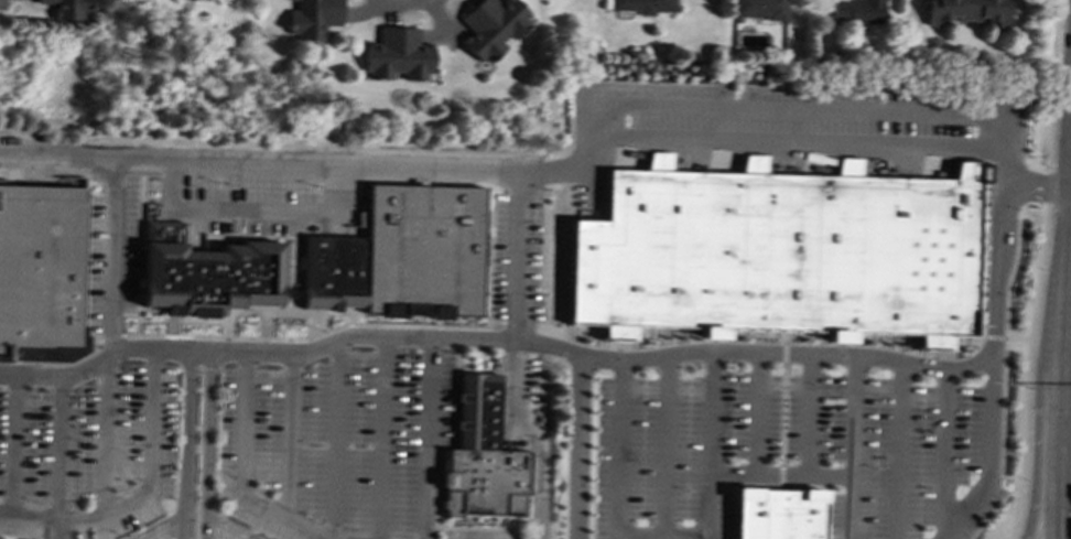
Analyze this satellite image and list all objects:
road: (399, 2)
building: (643, 6)
building: (68, 9)
building: (759, 9)
building: (857, 11)
building: (967, 11)
building: (312, 19)
building: (491, 26)
building: (397, 54)
parking lot: (824, 110)
road: (797, 141)
road: (573, 175)
road: (1035, 186)
parking lot: (242, 188)
road: (251, 209)
building: (778, 254)
parking lot: (113, 255)
road: (112, 256)
building: (401, 256)
parking lot: (516, 258)
road: (516, 258)
road: (1037, 269)
building: (207, 272)
road: (1067, 272)
building: (41, 274)
road: (495, 342)
road: (989, 369)
parking lot: (515, 377)
road: (1036, 400)
road: (756, 413)
road: (808, 414)
road: (187, 430)
road: (290, 436)
road: (105, 438)
road: (382, 439)
road: (430, 439)
road: (532, 439)
road: (335, 440)
road: (207, 444)
road: (666, 444)
road: (13, 445)
parking lot: (336, 445)
road: (710, 445)
road: (578, 446)
road: (853, 446)
road: (1070, 449)
parking lot: (677, 451)
road: (897, 451)
parking lot: (899, 453)
road: (943, 454)
parking lot: (88, 455)
building: (482, 457)
road: (57, 459)
road: (242, 471)
road: (781, 475)
road: (617, 493)
road: (141, 494)
building: (779, 514)
road: (184, 524)
road: (163, 525)
road: (227, 528)
parking lot: (482, 535)

